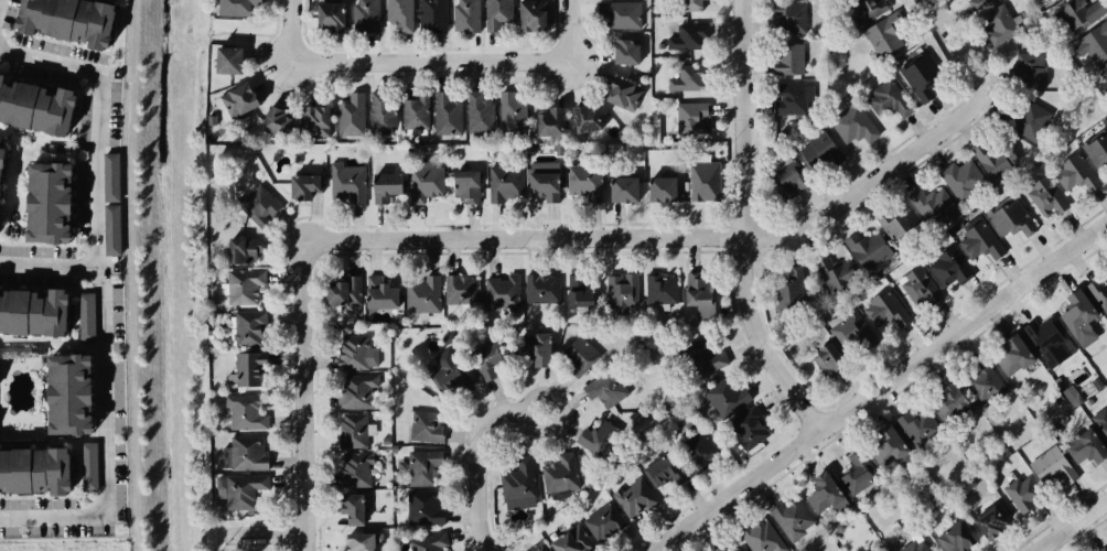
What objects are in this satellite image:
building: (979, 3)
building: (685, 6)
building: (233, 7)
building: (864, 11)
building: (494, 13)
building: (617, 13)
building: (397, 14)
building: (1078, 14)
building: (330, 15)
building: (431, 15)
building: (528, 15)
building: (364, 17)
building: (464, 17)
building: (67, 19)
building: (785, 19)
building: (999, 24)
road: (289, 31)
road: (567, 31)
road: (233, 32)
building: (686, 36)
building: (884, 40)
building: (1097, 42)
building: (623, 53)
building: (786, 58)
building: (228, 60)
road: (428, 63)
building: (1031, 69)
building: (1104, 74)
building: (916, 77)
building: (689, 78)
building: (620, 95)
building: (235, 97)
building: (884, 97)
building: (784, 99)
building: (35, 106)
building: (477, 108)
building: (413, 110)
building: (510, 112)
building: (378, 114)
building: (587, 114)
building: (444, 115)
building: (350, 116)
building: (692, 118)
road: (96, 120)
building: (276, 120)
building: (313, 120)
building: (851, 120)
building: (546, 121)
building: (1032, 121)
building: (1097, 149)
building: (821, 153)
building: (1, 154)
building: (997, 159)
building: (1077, 173)
building: (110, 175)
building: (544, 176)
building: (784, 177)
building: (346, 180)
building: (963, 180)
building: (507, 181)
building: (701, 181)
building: (423, 184)
building: (464, 184)
building: (297, 185)
building: (385, 185)
building: (658, 186)
building: (585, 187)
building: (623, 187)
building: (1047, 197)
building: (47, 201)
building: (256, 204)
building: (933, 206)
building: (1011, 217)
building: (899, 224)
road: (750, 226)
building: (111, 228)
road: (723, 237)
building: (980, 239)
building: (240, 248)
building: (868, 249)
road: (47, 263)
building: (950, 268)
building: (839, 275)
road: (194, 283)
building: (461, 285)
building: (241, 287)
building: (921, 287)
building: (540, 288)
building: (1099, 288)
building: (340, 290)
building: (503, 290)
building: (578, 290)
building: (619, 290)
building: (660, 290)
building: (699, 290)
building: (789, 291)
building: (377, 296)
building: (420, 299)
building: (30, 309)
building: (886, 310)
building: (83, 316)
building: (1079, 316)
building: (245, 327)
building: (852, 332)
building: (1047, 341)
building: (530, 346)
building: (354, 350)
building: (580, 354)
building: (706, 356)
building: (1017, 356)
building: (482, 358)
building: (830, 360)
building: (246, 368)
building: (448, 375)
building: (984, 382)
building: (1097, 383)
road: (100, 390)
building: (350, 390)
building: (604, 390)
building: (63, 391)
road: (881, 391)
road: (312, 395)
building: (1072, 396)
building: (1057, 398)
building: (727, 399)
building: (950, 402)
building: (241, 411)
building: (1100, 418)
building: (744, 425)
building: (921, 428)
building: (426, 429)
building: (351, 430)
building: (386, 440)
building: (590, 440)
building: (697, 446)
building: (394, 447)
building: (891, 447)
road: (483, 449)
building: (1087, 449)
building: (246, 450)
building: (1052, 466)
building: (86, 467)
building: (419, 467)
building: (665, 467)
building: (30, 468)
building: (353, 469)
building: (858, 474)
building: (561, 475)
building: (516, 483)
building: (236, 490)
building: (826, 493)
building: (1021, 495)
building: (632, 497)
building: (353, 508)
building: (421, 509)
road: (51, 516)
building: (600, 519)
building: (792, 519)
road: (241, 521)
building: (982, 521)
road: (1070, 525)
building: (947, 533)
road: (271, 534)
road: (197, 536)
building: (761, 536)
building: (566, 540)
building: (362, 541)
building: (430, 542)
building: (913, 547)
building: (1101, 547)
building: (537, 548)
building: (721, 548)
road: (243, 549)
building: (734, 549)
road: (197, 550)

